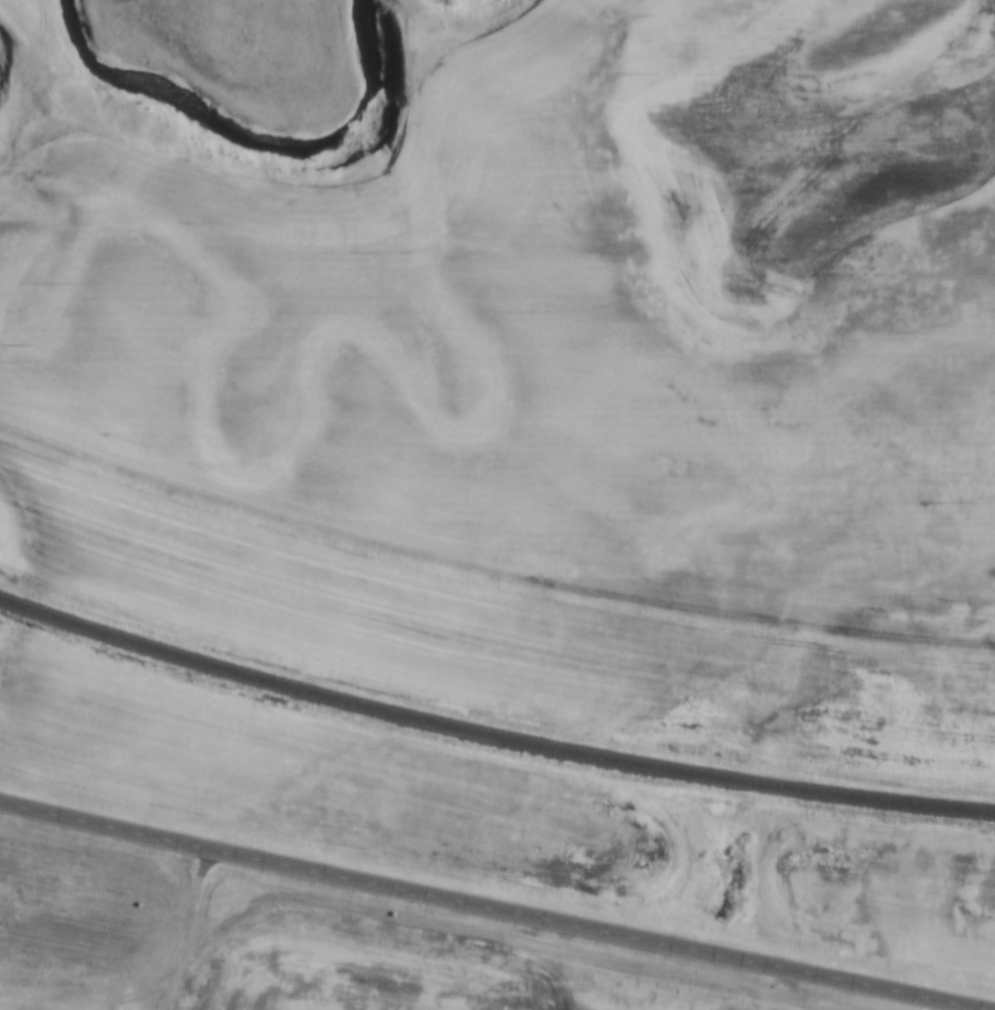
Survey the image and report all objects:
railway: (491, 738)
road: (489, 911)
crop: (393, 971)
road: (145, 979)

